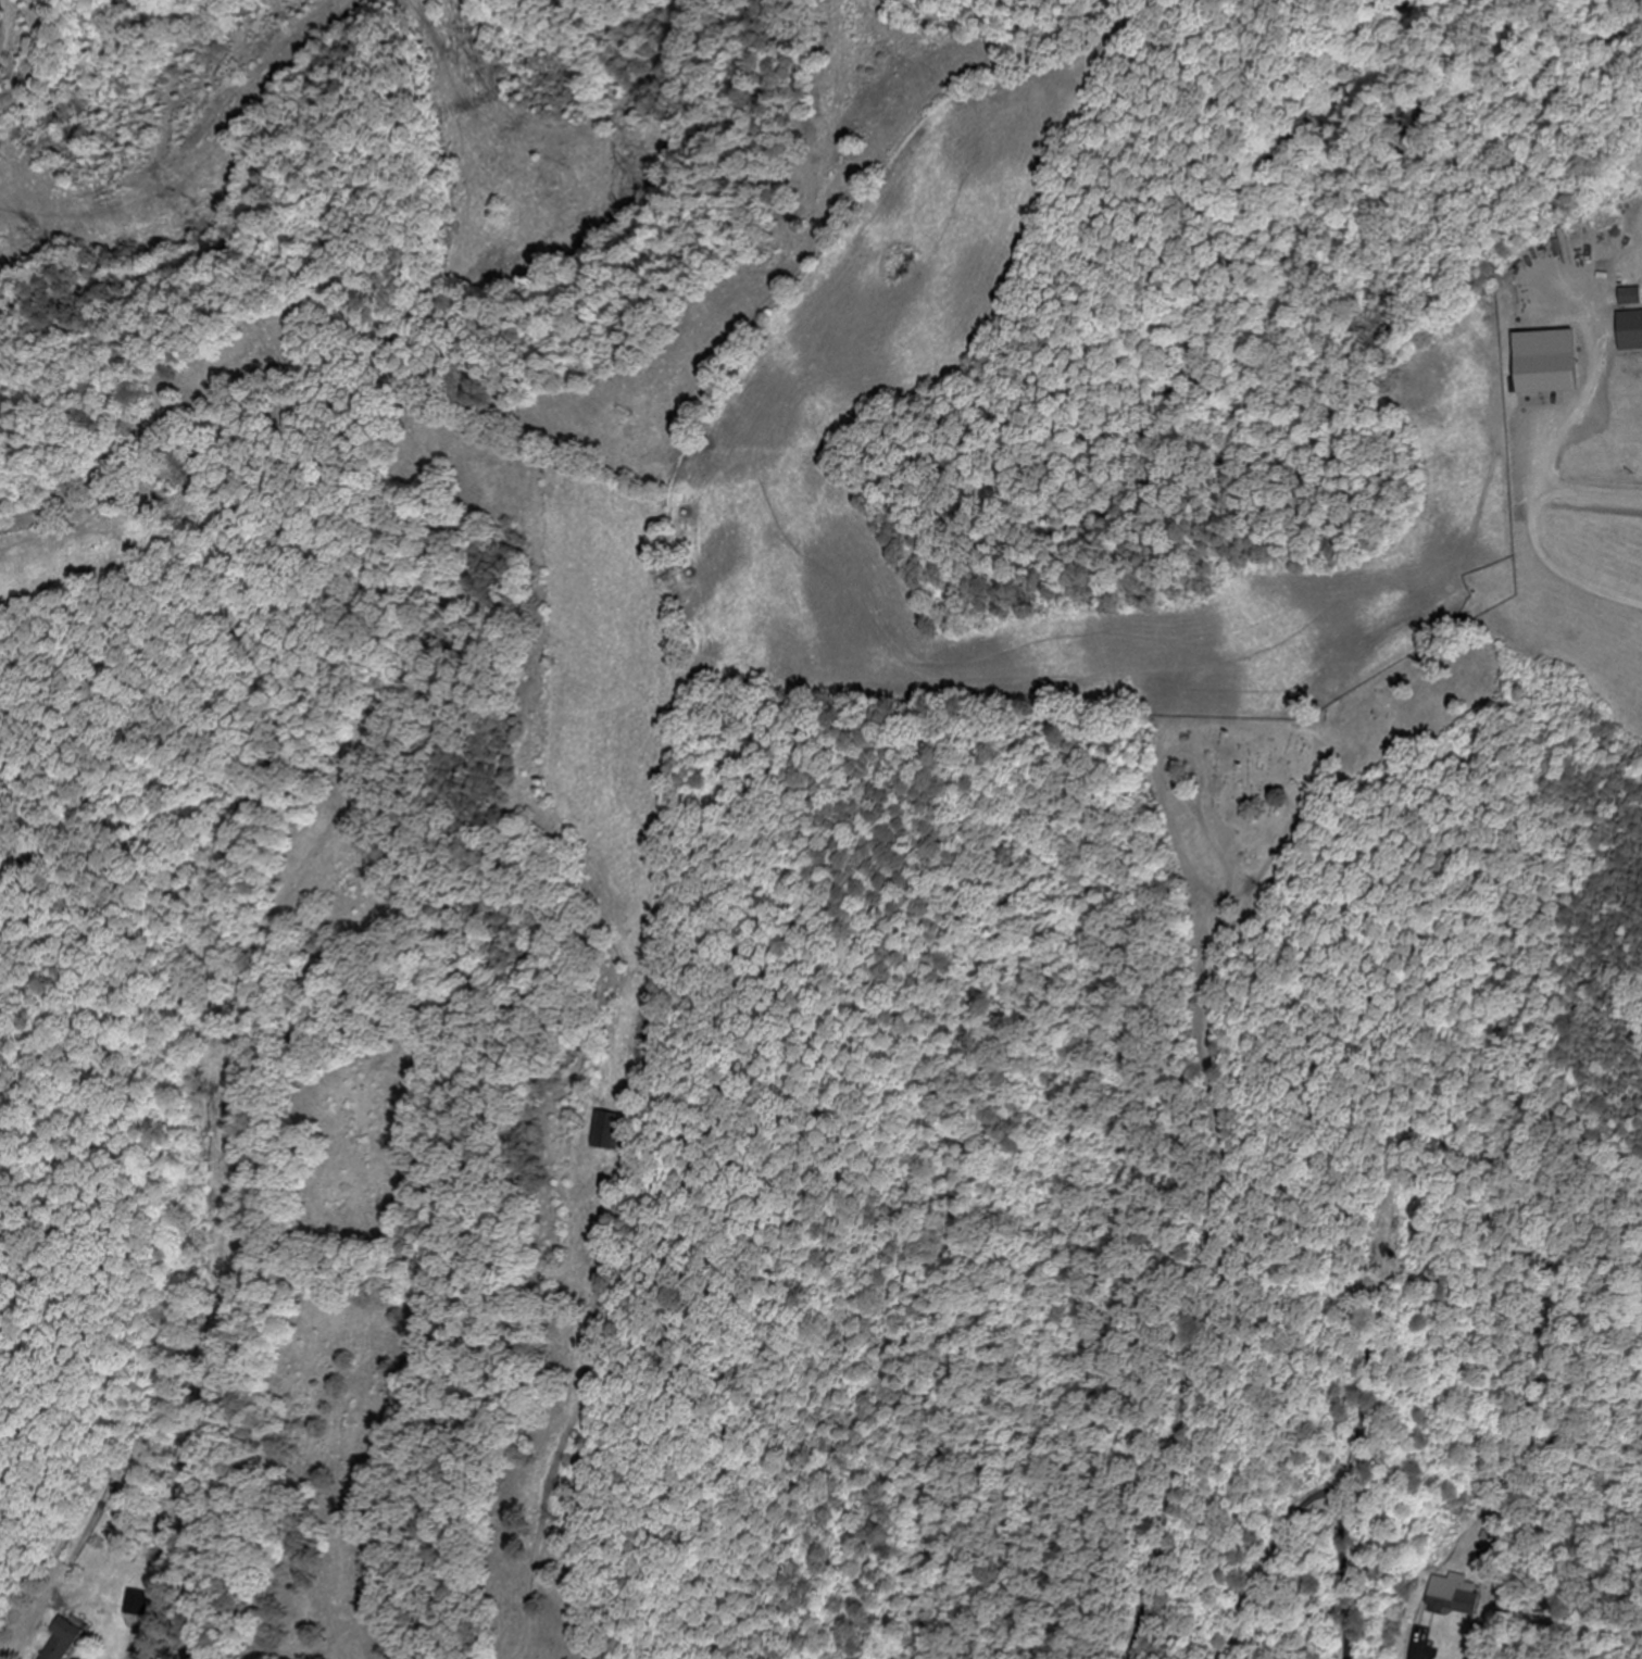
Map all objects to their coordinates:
building: (607, 1131)
road: (1201, 1241)
road: (1331, 1479)
building: (1495, 1537)
building: (1454, 1597)
building: (135, 1604)
building: (63, 1642)

